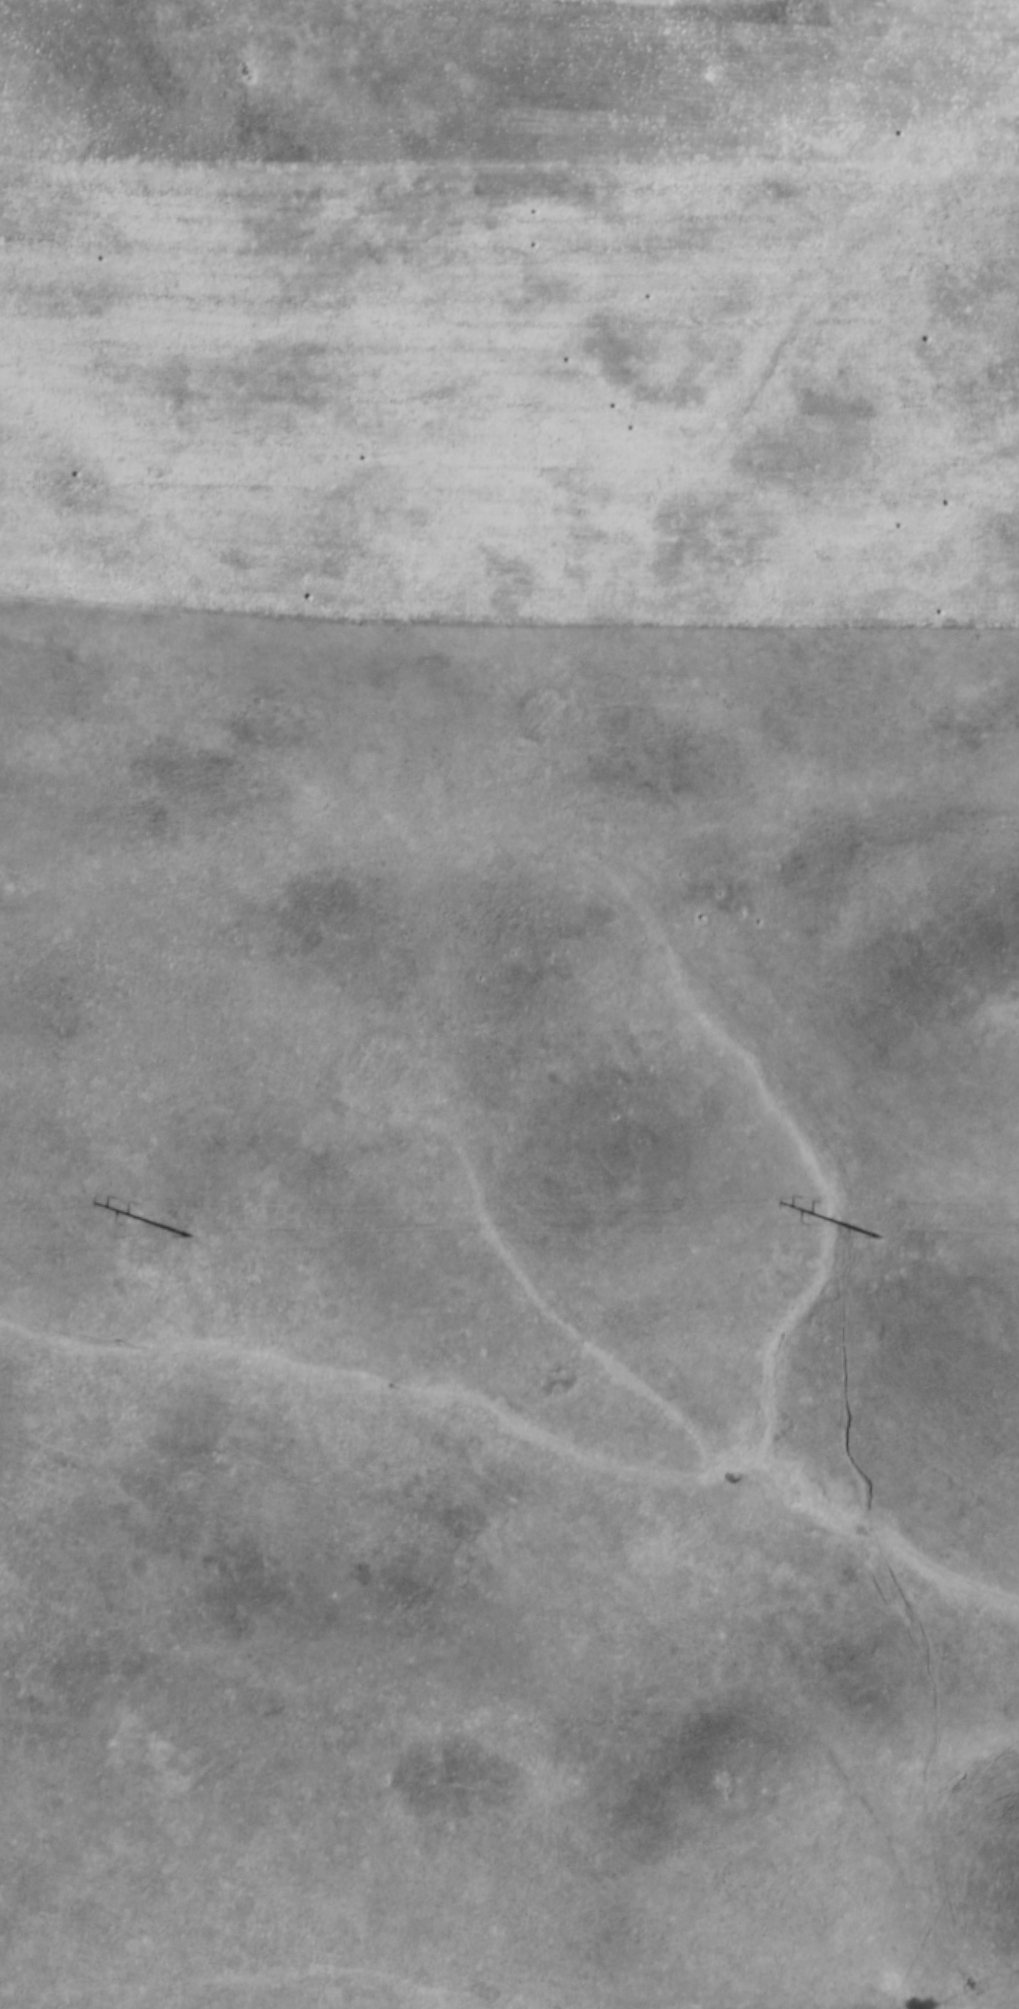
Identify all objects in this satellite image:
power tower: (190, 1228)
power tower: (877, 1231)

